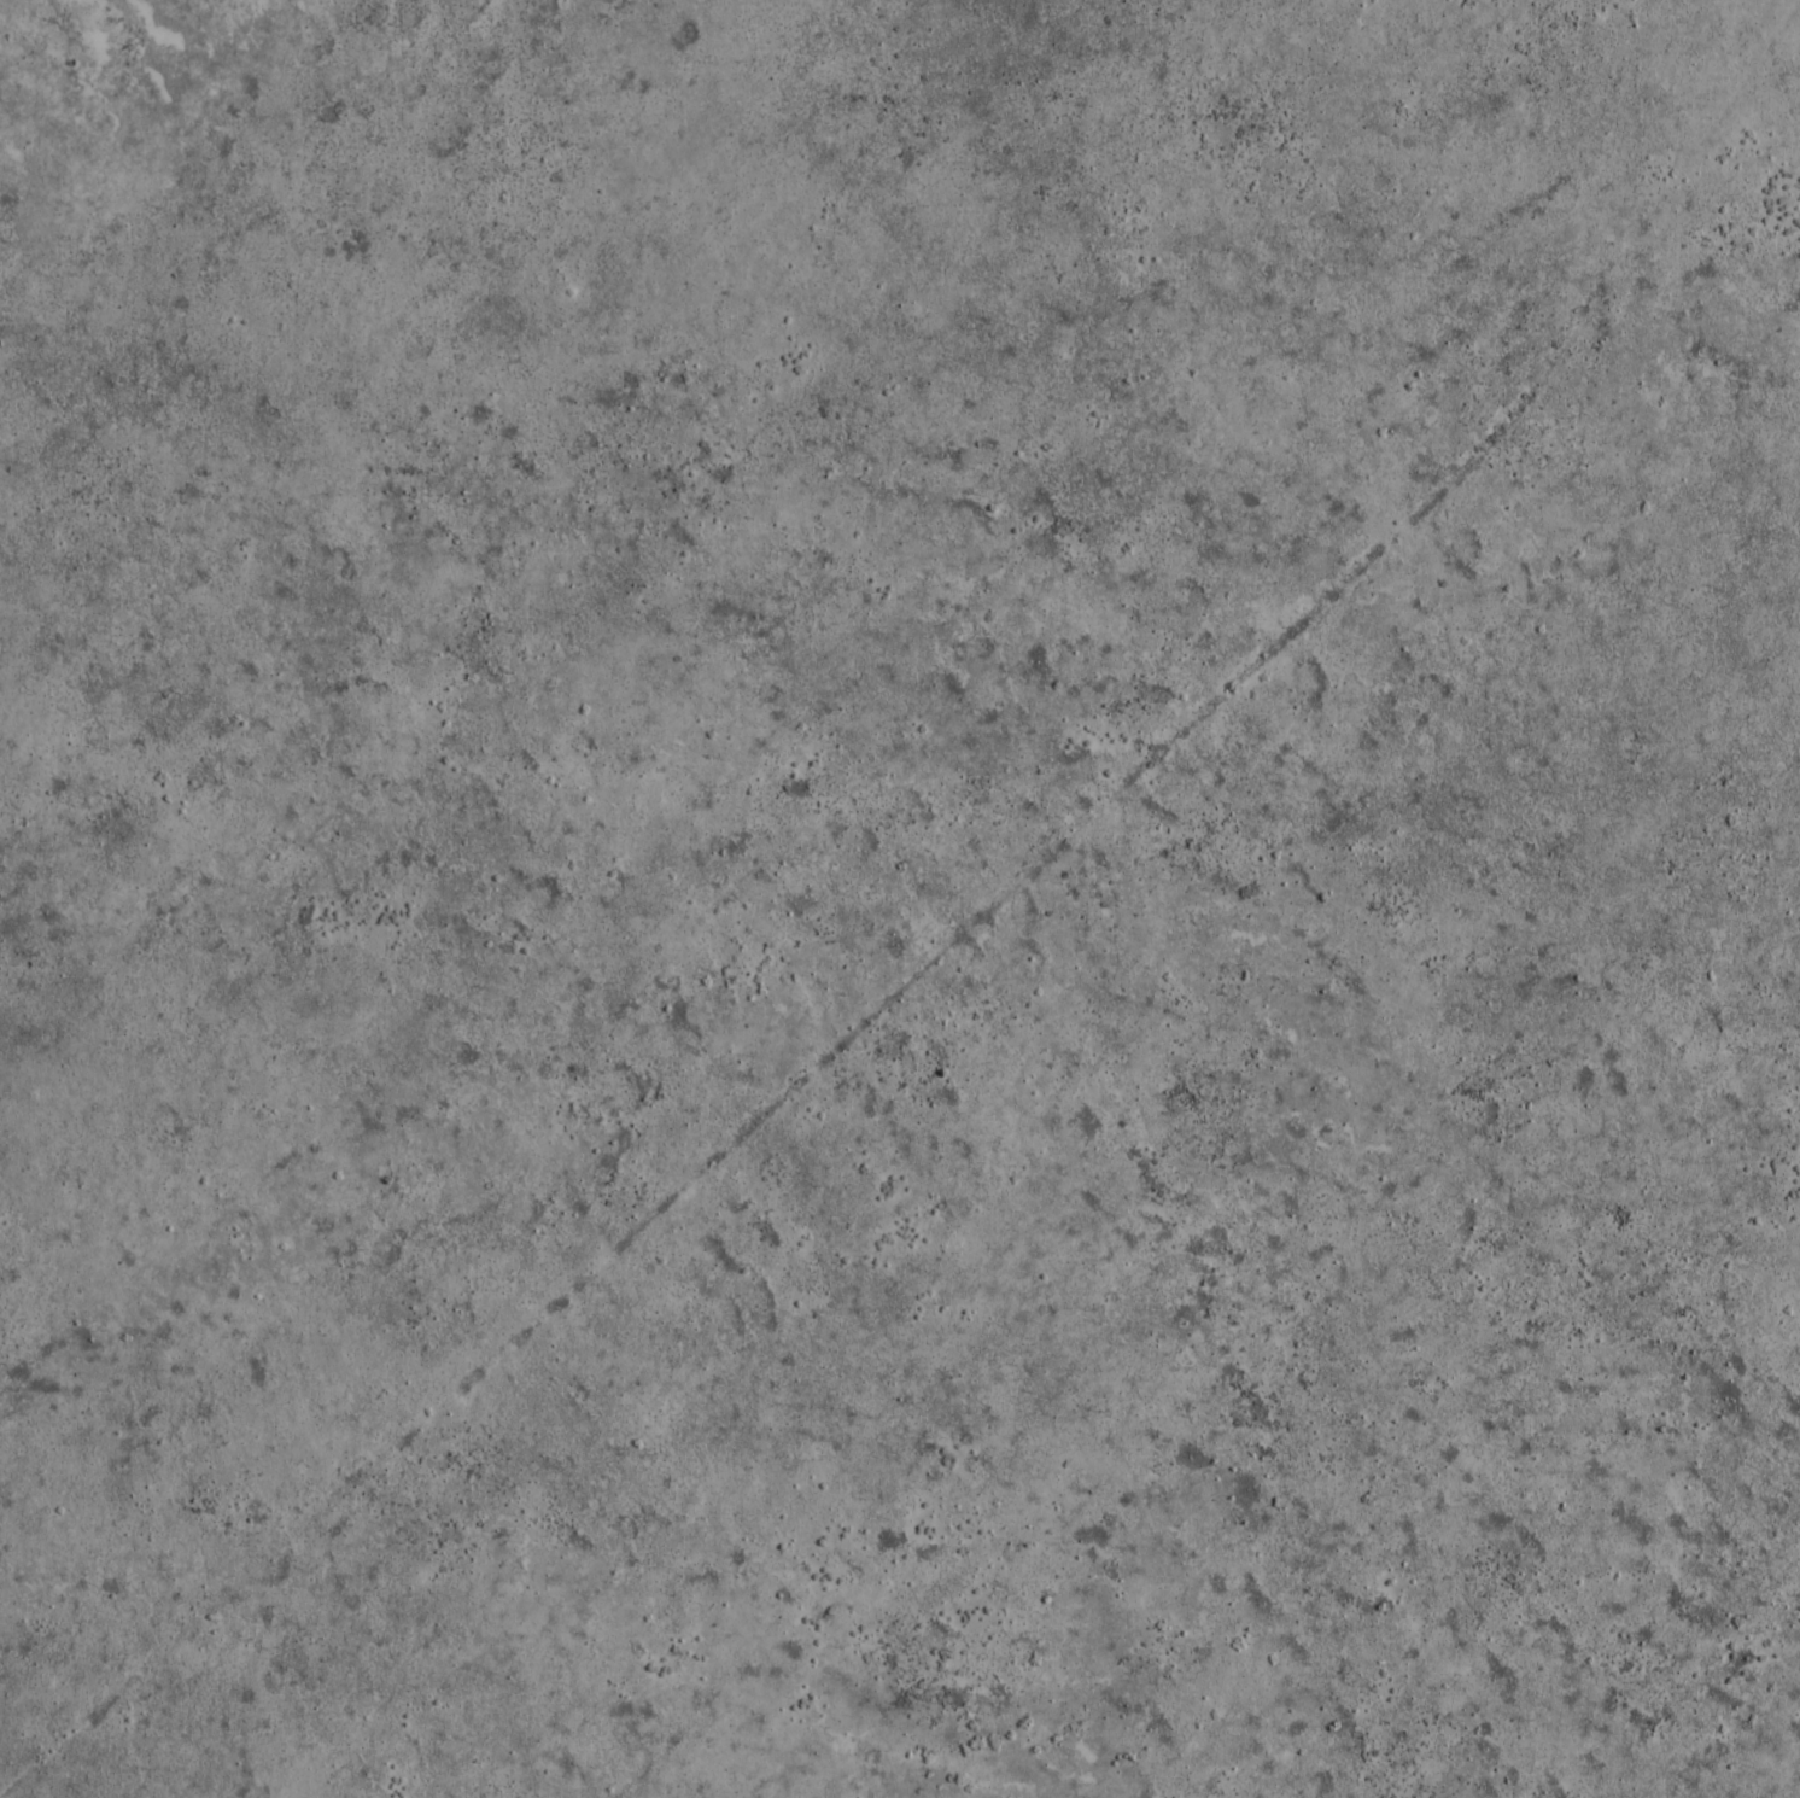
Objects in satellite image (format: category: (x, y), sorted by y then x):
road: (949, 939)

